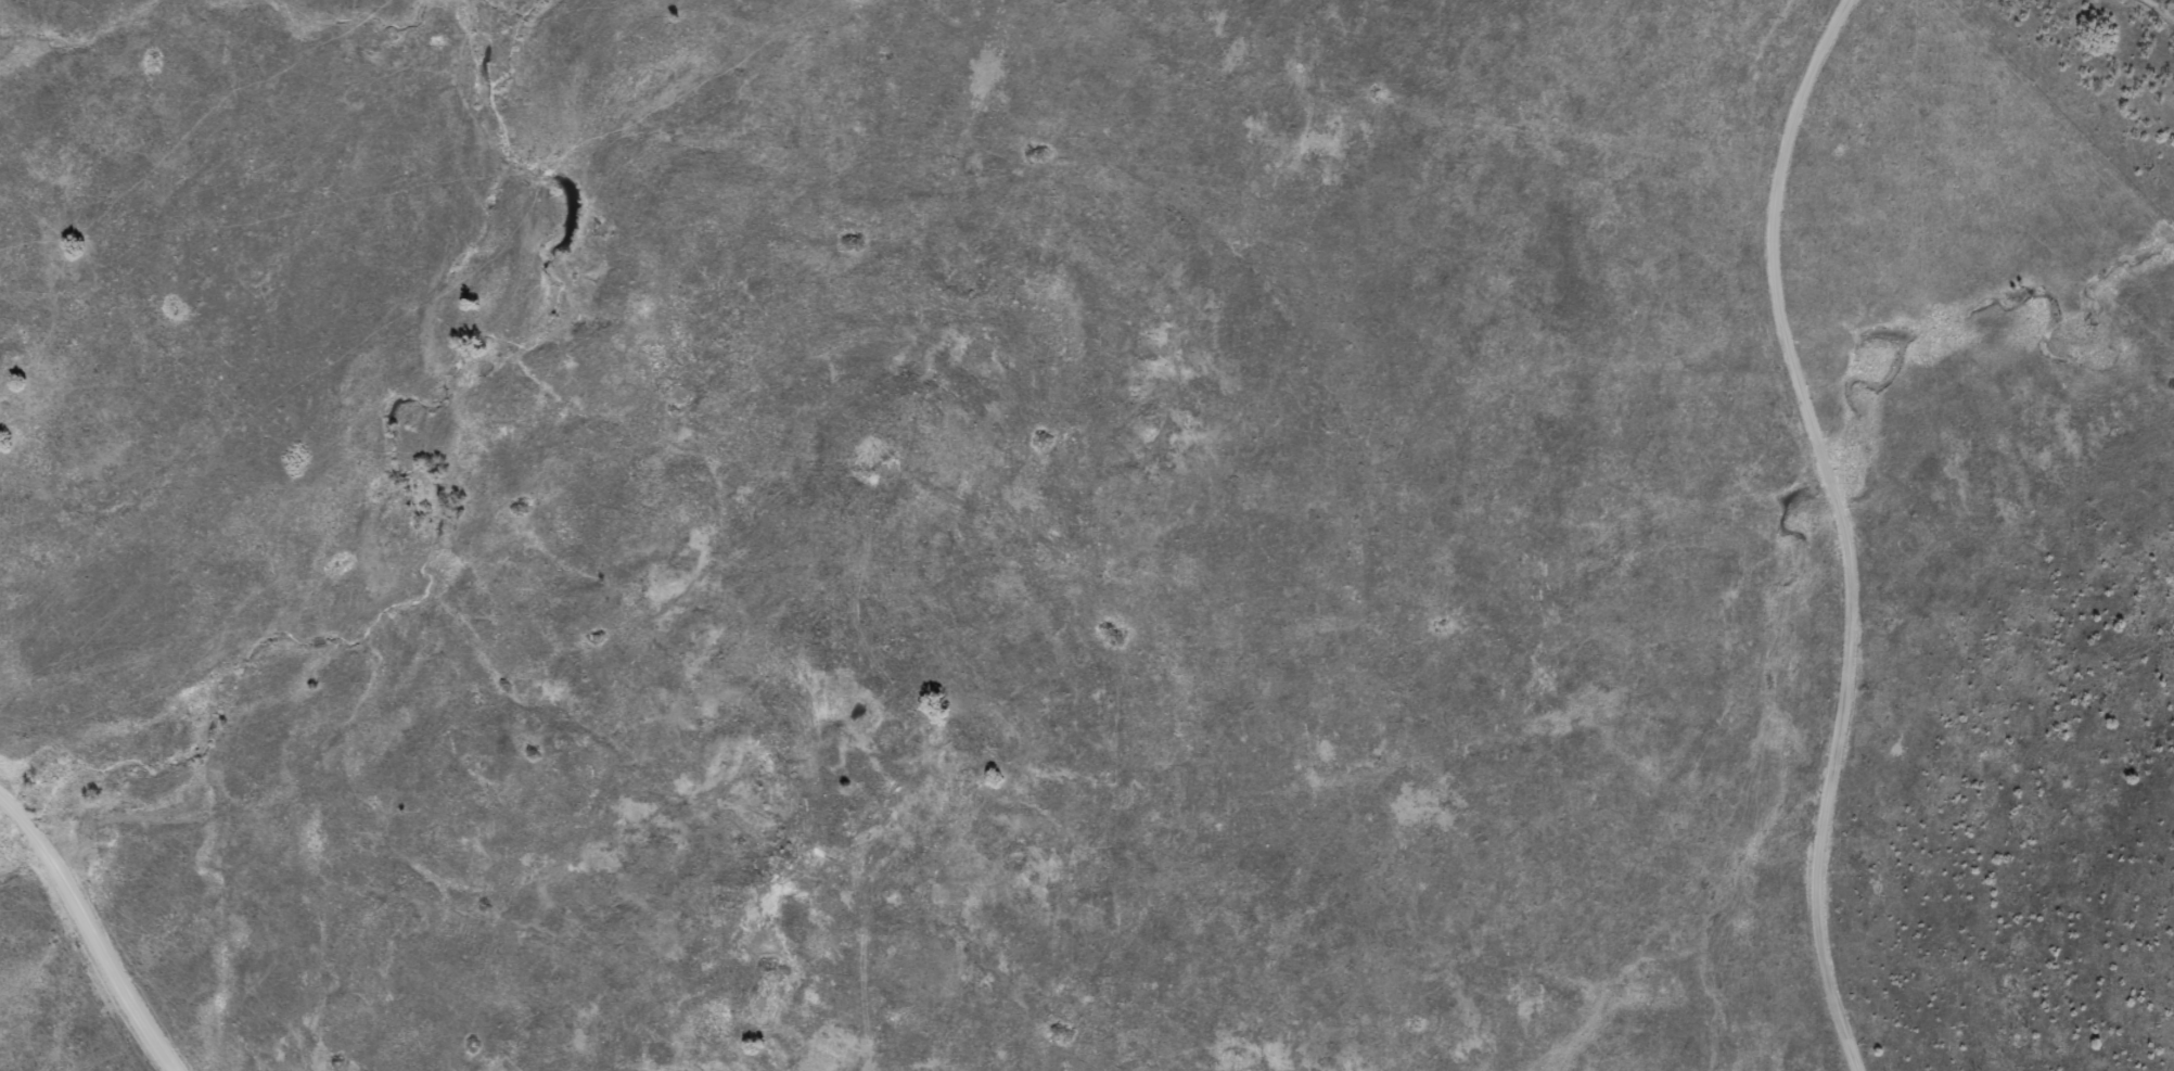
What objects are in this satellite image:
road: (1830, 527)
road: (98, 941)

